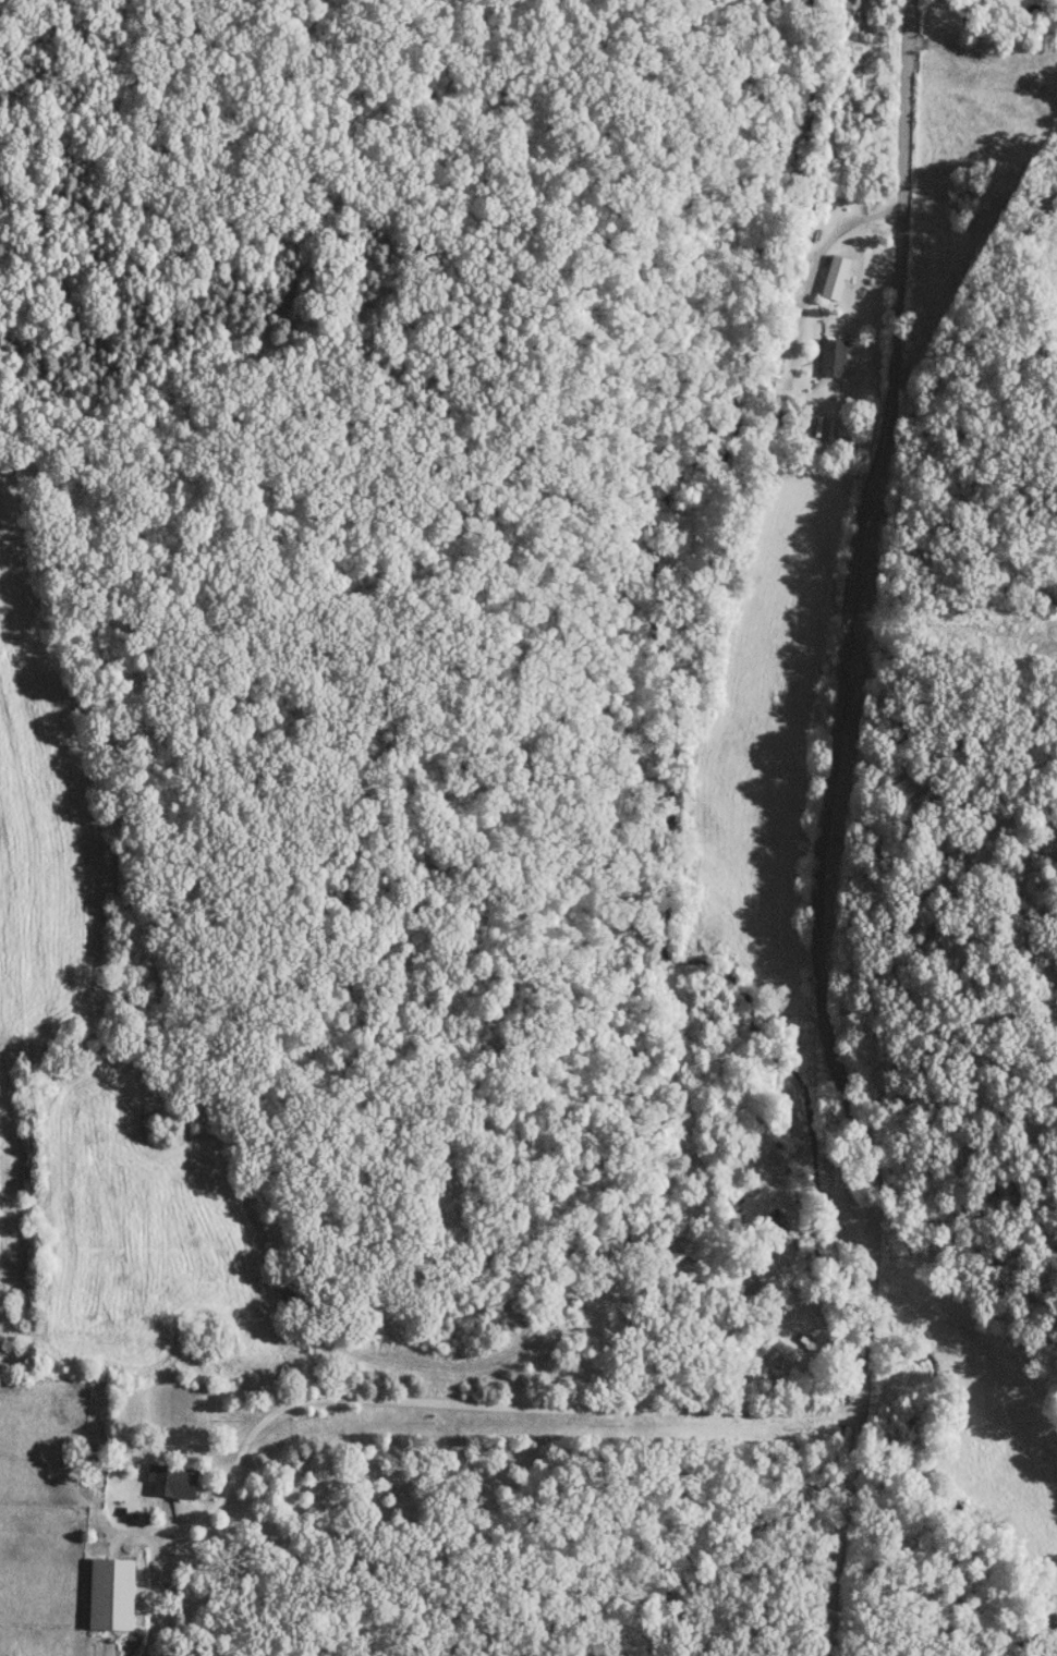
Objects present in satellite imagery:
building: (831, 278)
building: (829, 356)
crop: (45, 825)
road: (877, 828)
building: (774, 1225)
building: (743, 1276)
building: (792, 1332)
road: (472, 1402)
building: (165, 1481)
building: (101, 1594)

